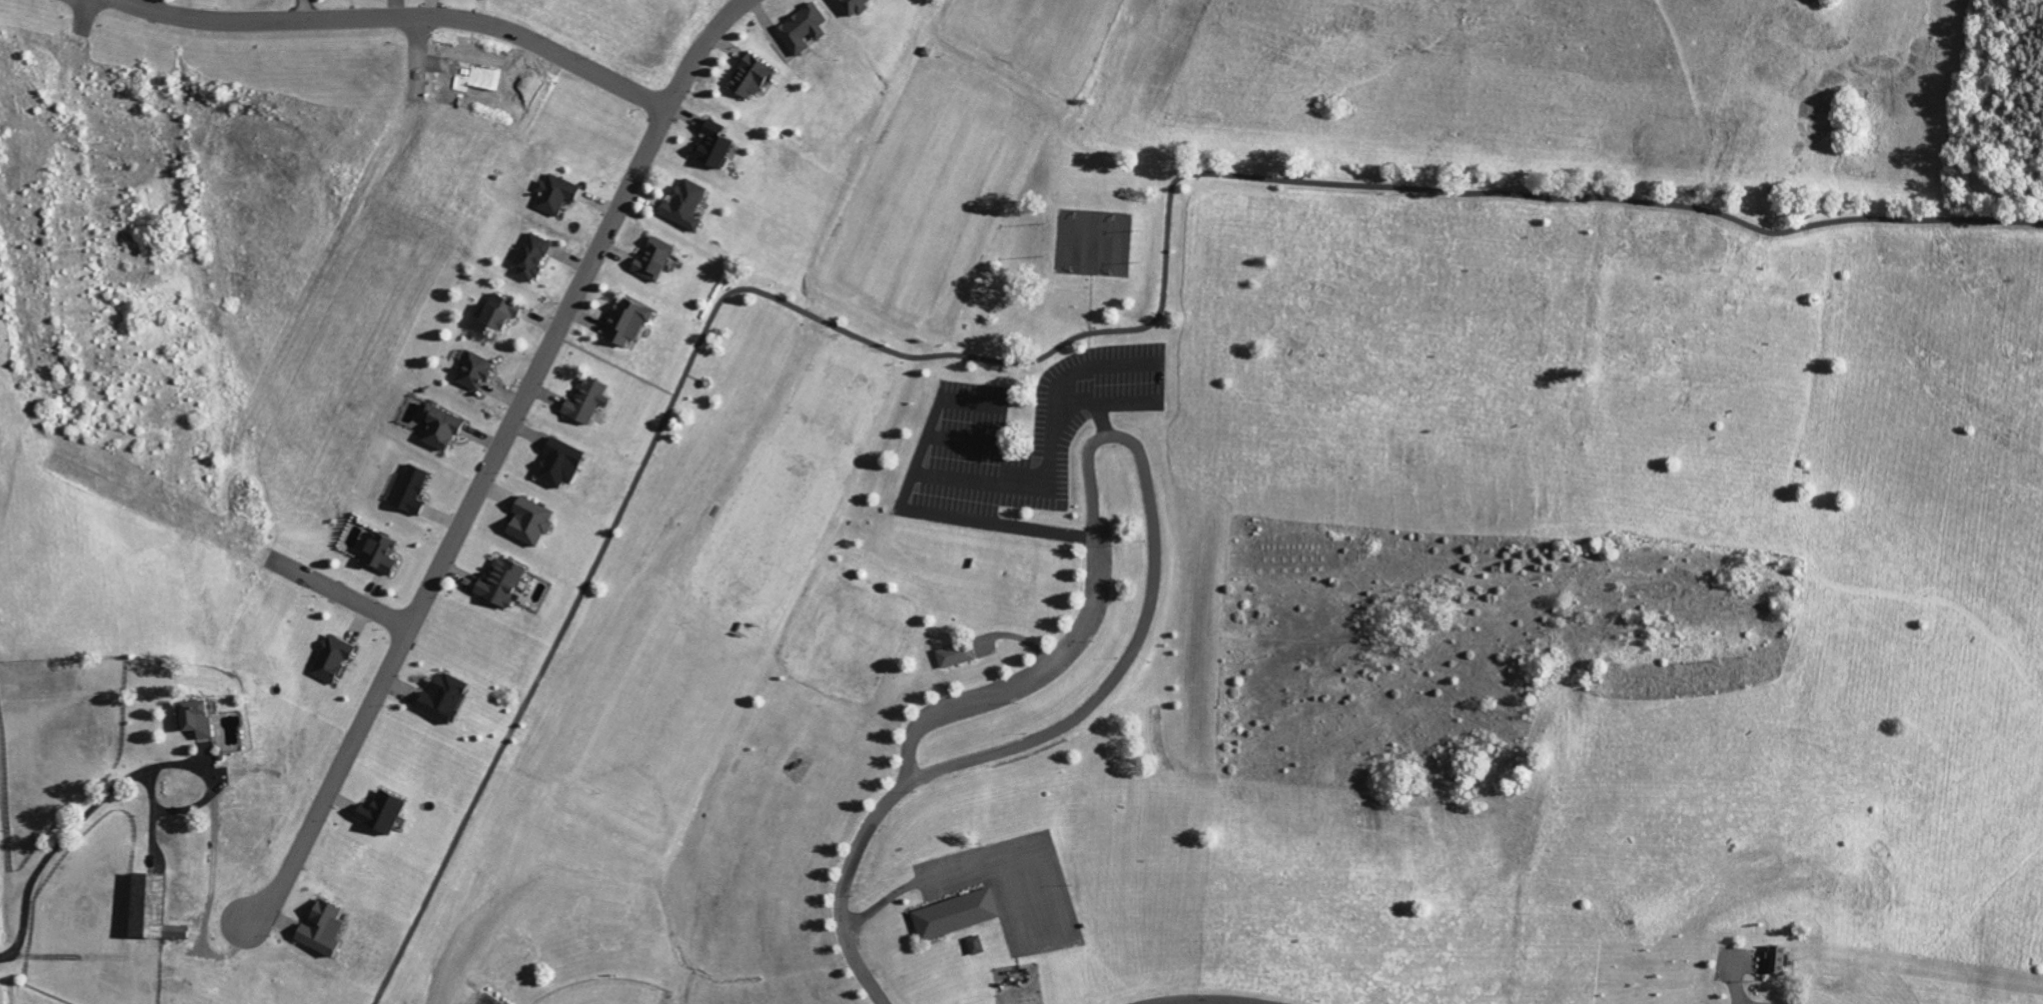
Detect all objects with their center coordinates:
building: (849, 6)
road: (401, 16)
building: (801, 27)
building: (747, 77)
building: (709, 144)
building: (553, 193)
building: (683, 203)
building: (529, 256)
building: (650, 258)
building: (495, 313)
building: (624, 322)
road: (1050, 352)
building: (472, 371)
building: (583, 401)
building: (437, 427)
road: (1135, 441)
building: (556, 462)
road: (490, 464)
building: (408, 490)
building: (526, 520)
park: (1314, 536)
building: (377, 553)
building: (497, 583)
road: (339, 592)
building: (952, 654)
building: (329, 659)
building: (440, 697)
building: (194, 718)
building: (377, 813)
road: (963, 867)
road: (851, 890)
building: (142, 906)
building: (954, 914)
building: (318, 928)
building: (172, 932)
building: (973, 945)
building: (1775, 957)

